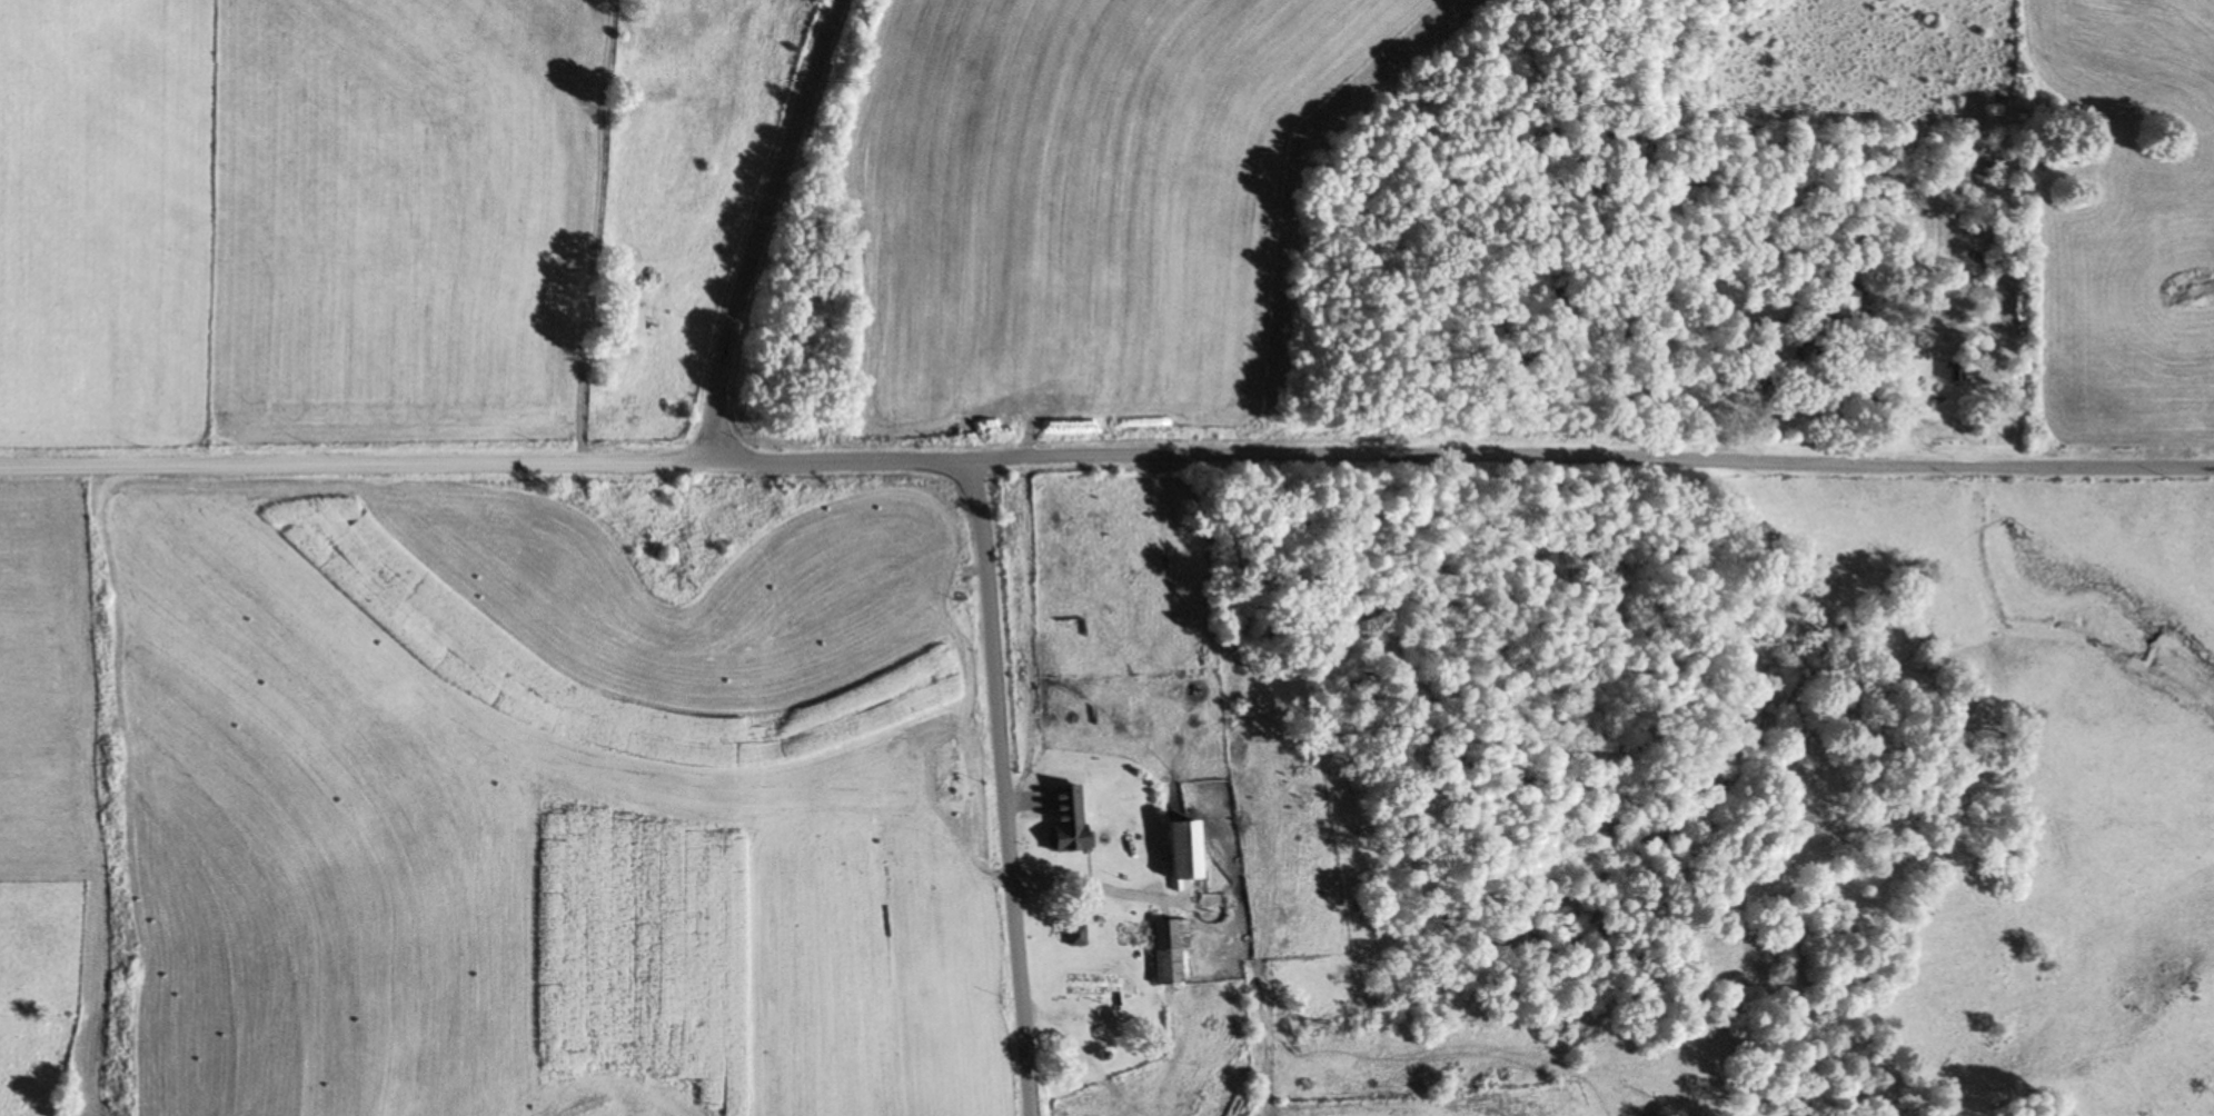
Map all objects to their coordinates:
road: (762, 229)
building: (1845, 301)
building: (813, 434)
road: (1106, 454)
road: (1002, 787)
building: (1062, 818)
building: (1173, 853)
building: (1071, 936)
building: (1153, 946)

